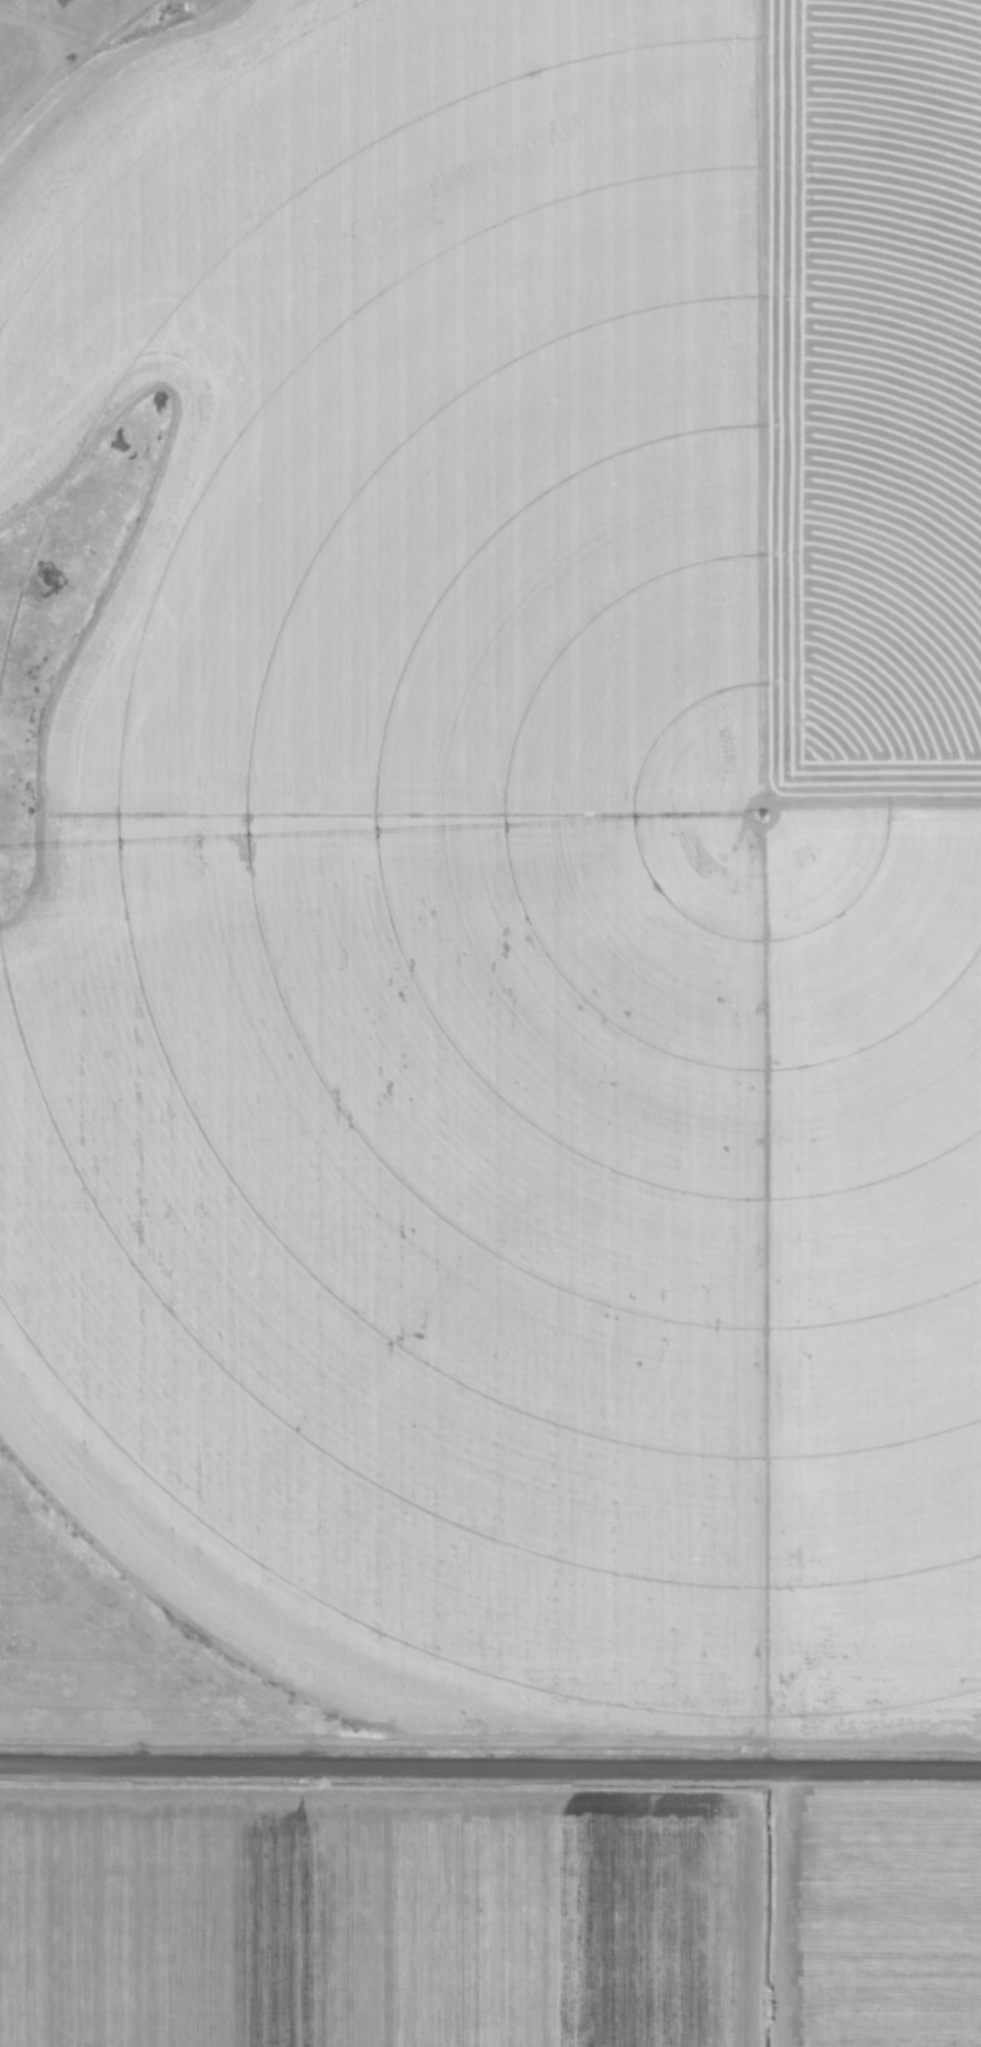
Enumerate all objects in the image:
crop: (516, 840)
road: (490, 1768)
crop: (488, 1917)

